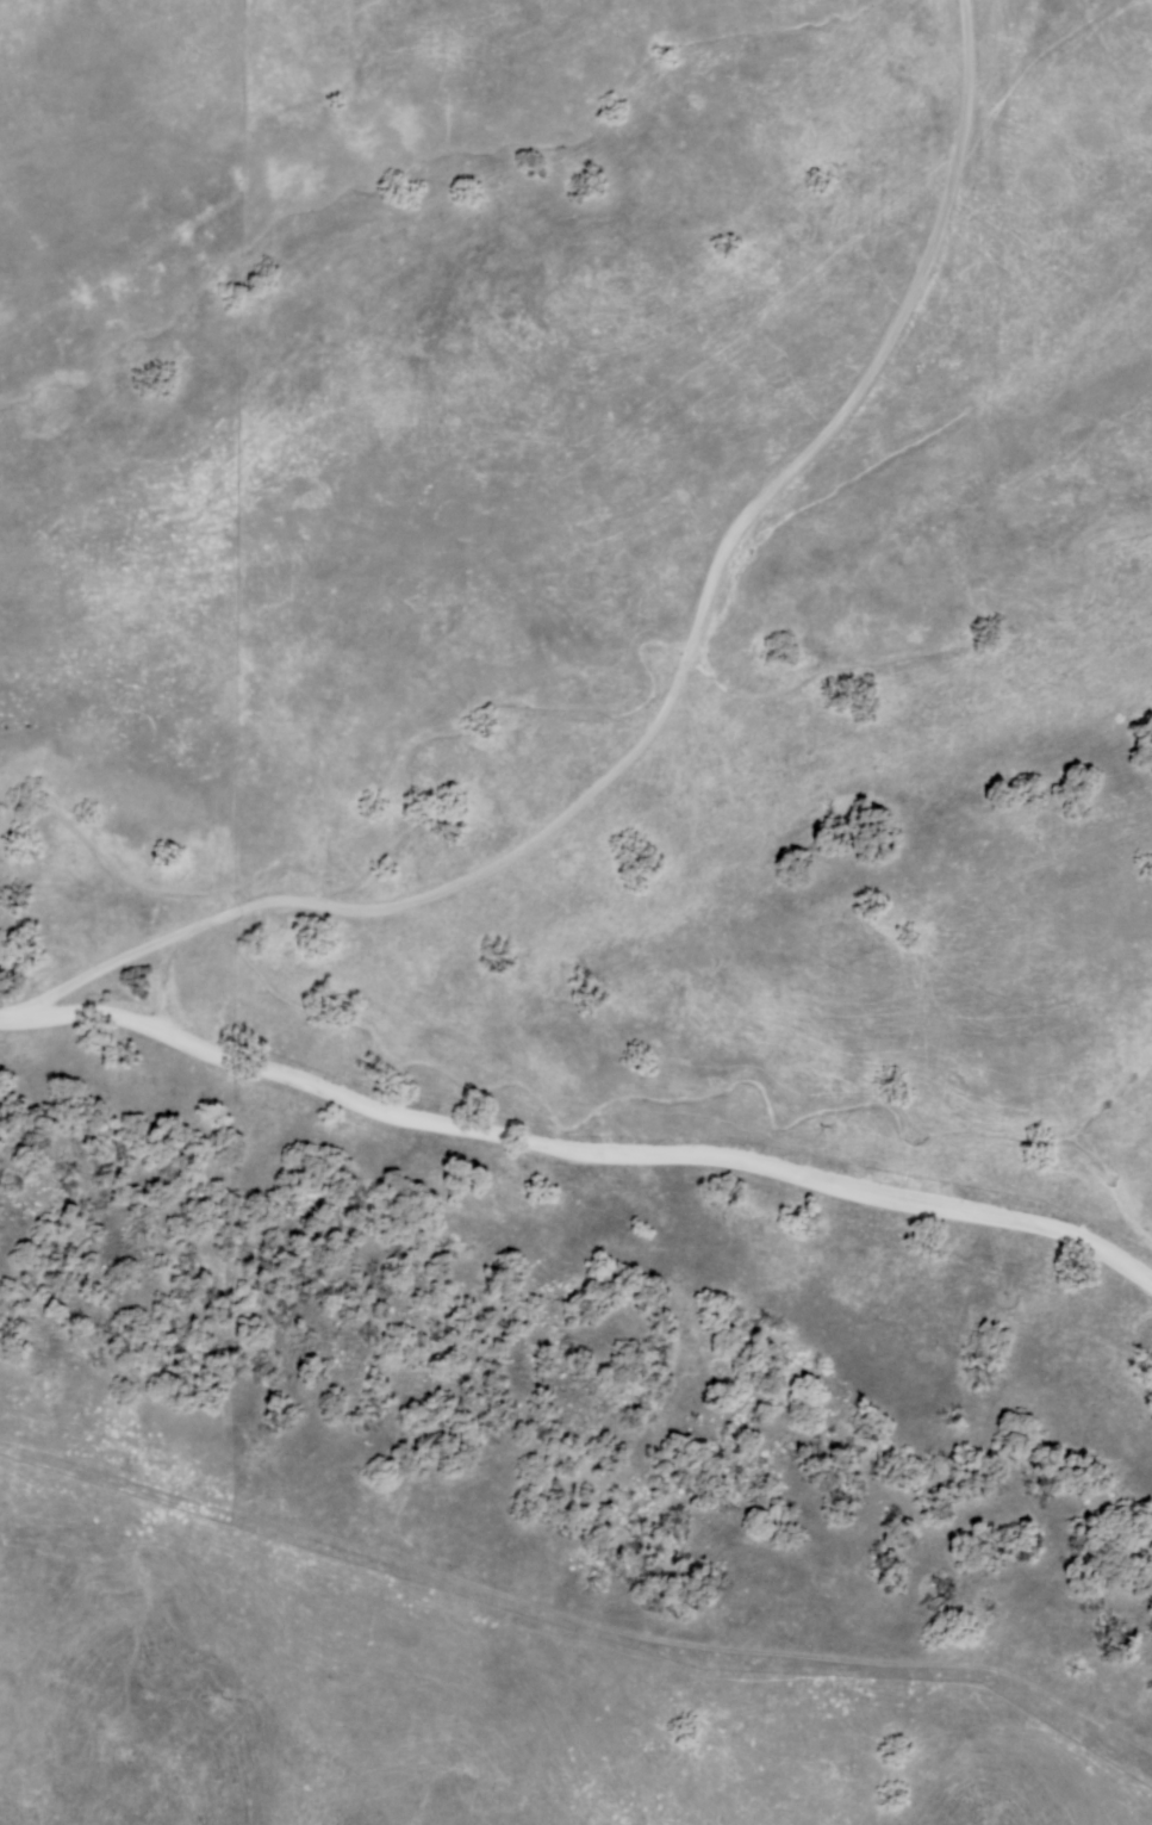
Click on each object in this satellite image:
road: (573, 1149)

